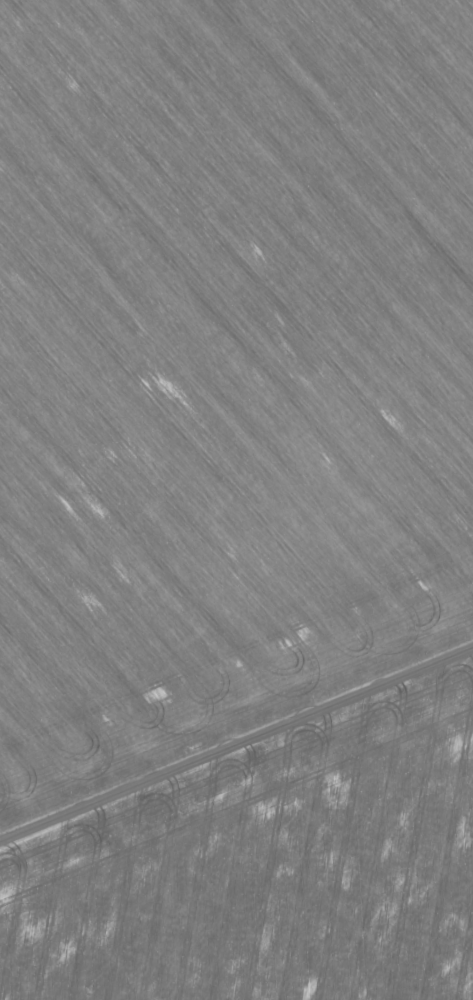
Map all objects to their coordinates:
road: (236, 745)

